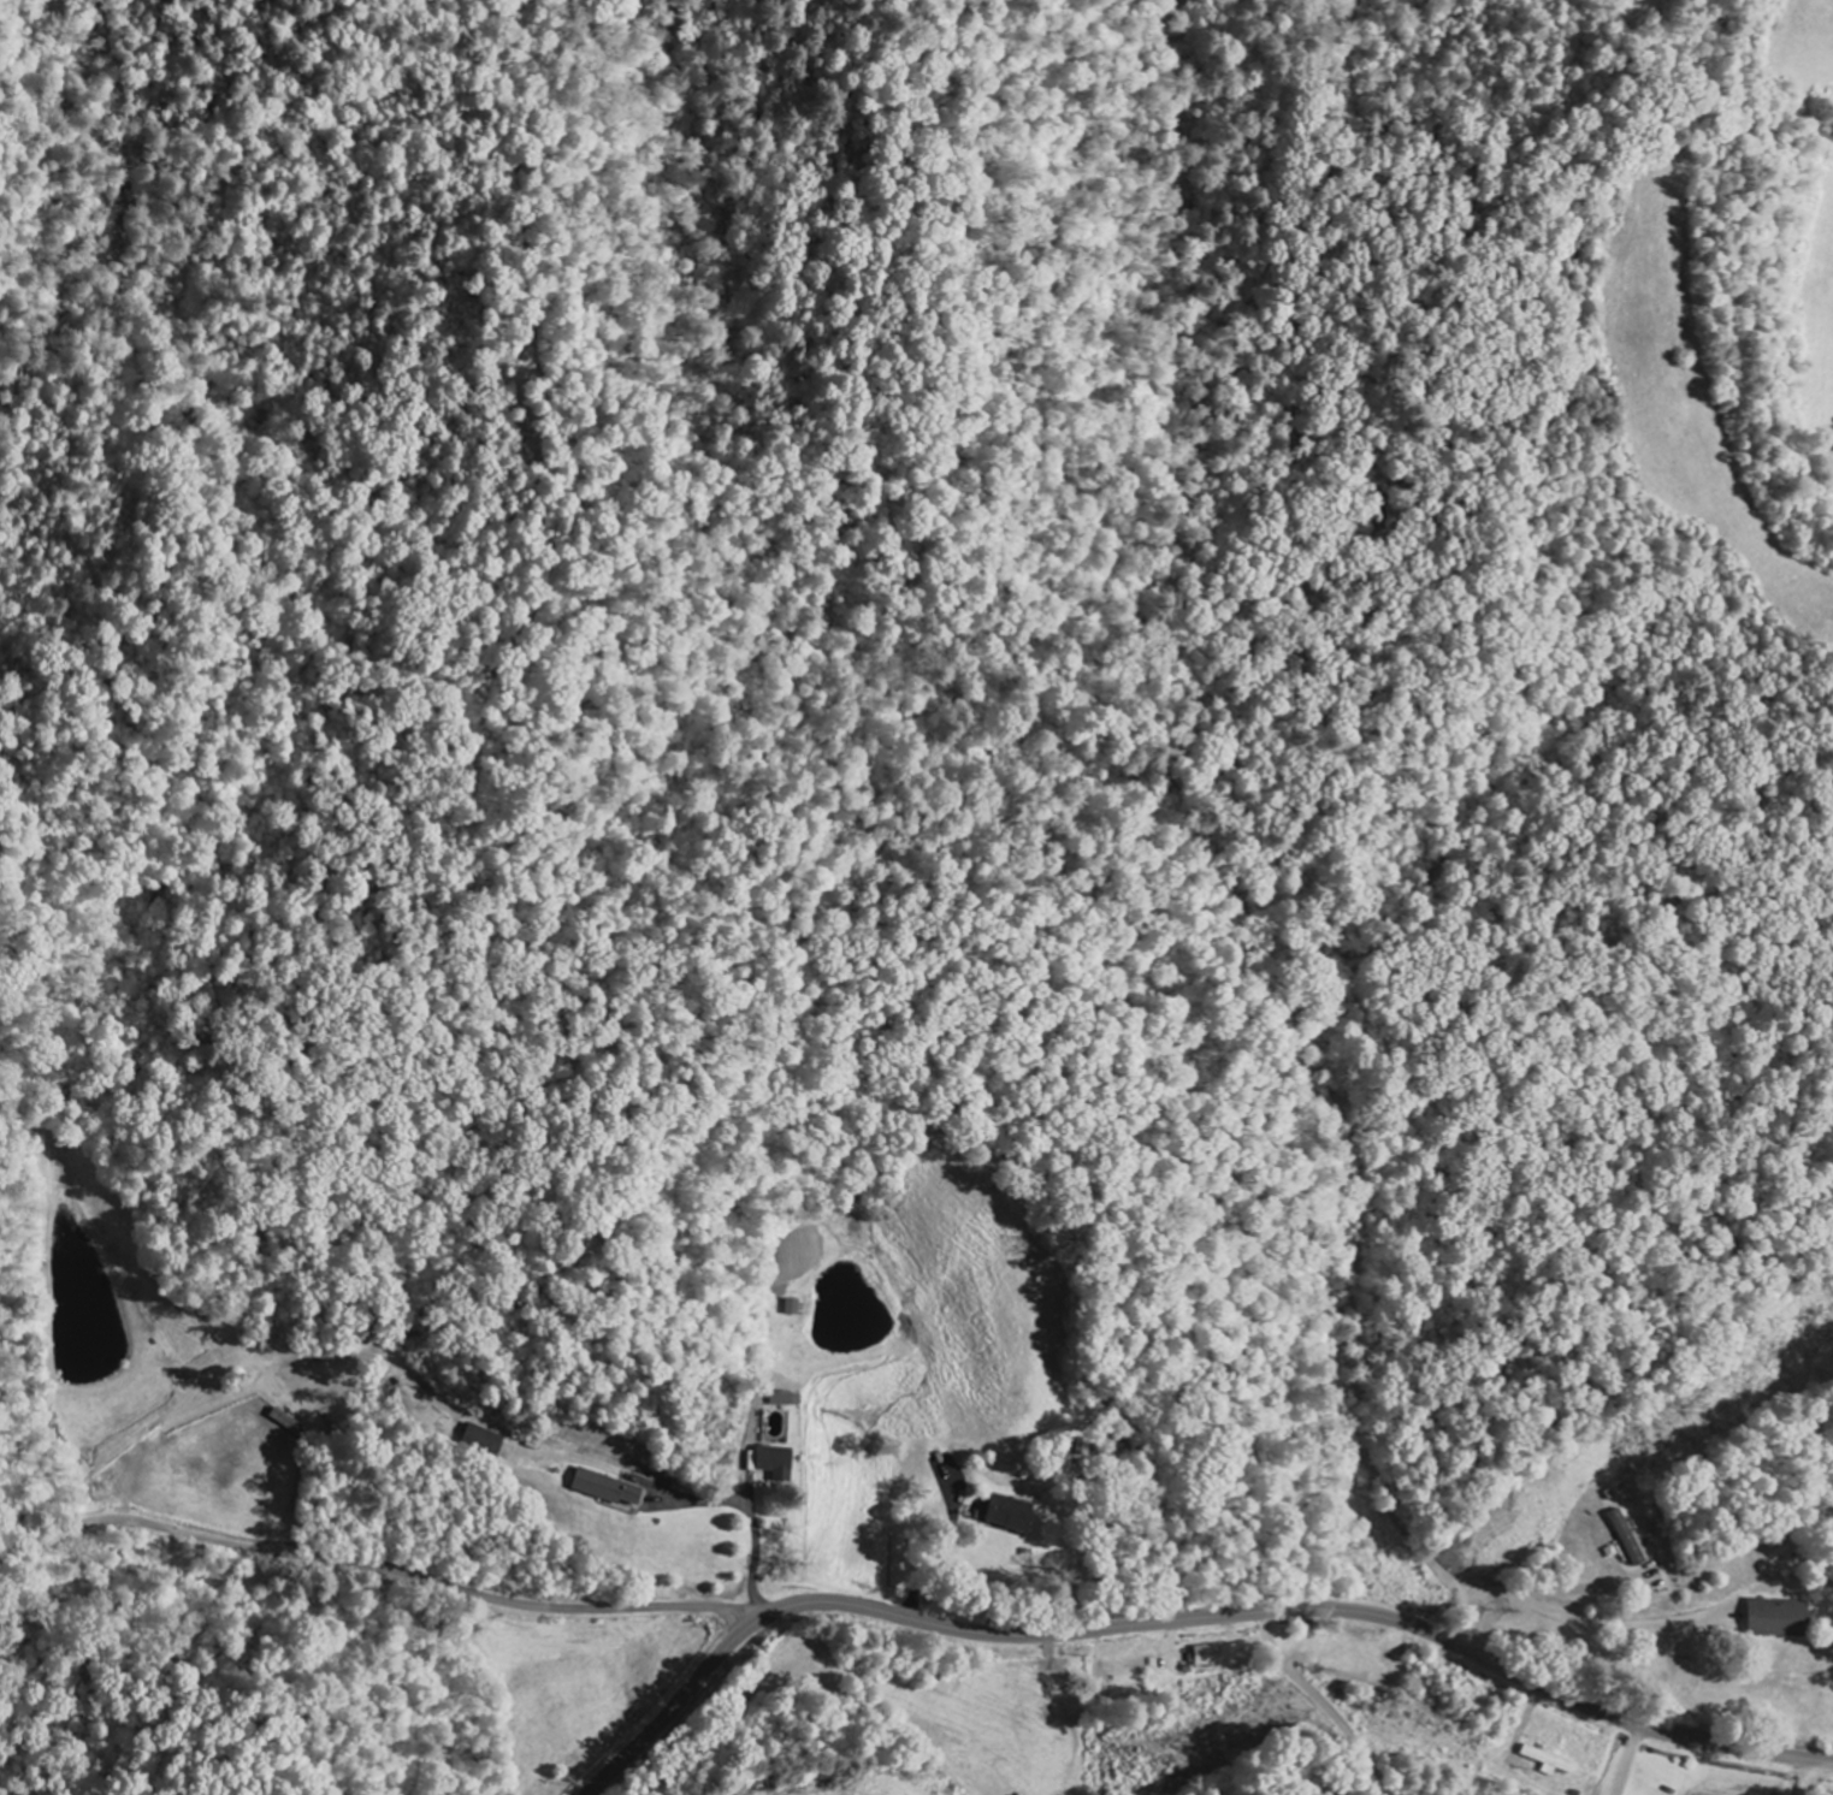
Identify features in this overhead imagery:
building: (787, 1399)
building: (484, 1440)
building: (775, 1463)
building: (607, 1488)
building: (1010, 1515)
building: (1630, 1539)
road: (374, 1569)
building: (1780, 1619)
road: (1183, 1622)
building: (1213, 1657)
power tower: (1204, 1742)
road: (1808, 1777)

